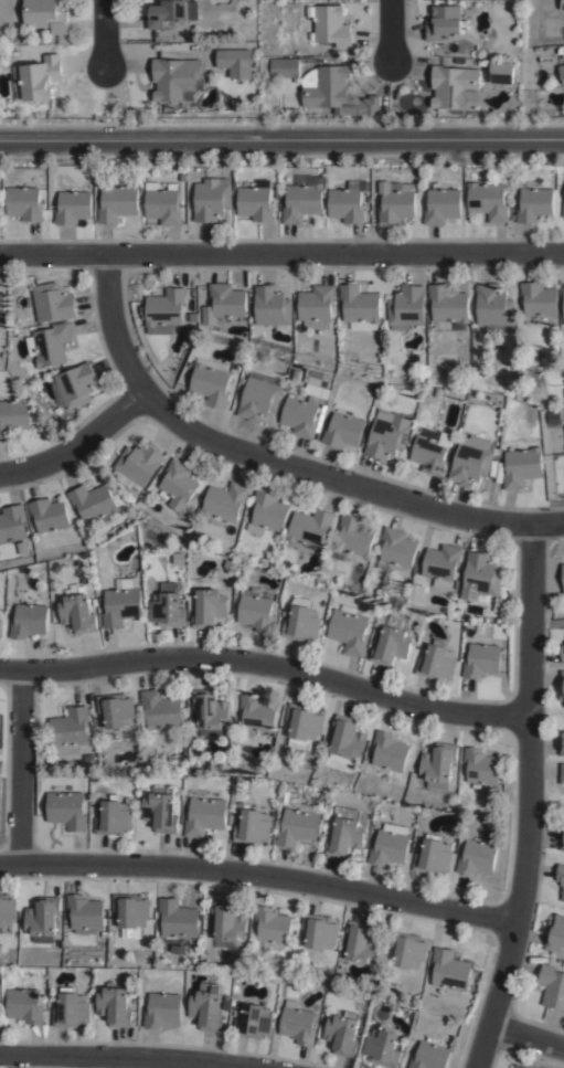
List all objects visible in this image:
building: (562, 4)
building: (164, 12)
building: (46, 15)
building: (441, 22)
building: (332, 27)
road: (390, 30)
road: (104, 34)
building: (236, 61)
building: (285, 67)
building: (561, 71)
building: (502, 72)
building: (39, 78)
building: (177, 78)
building: (451, 84)
building: (334, 91)
building: (292, 112)
road: (281, 138)
building: (182, 177)
building: (0, 194)
building: (301, 198)
building: (211, 199)
building: (255, 200)
building: (487, 200)
building: (396, 201)
building: (24, 202)
building: (117, 202)
building: (348, 202)
building: (533, 202)
building: (162, 203)
building: (440, 204)
building: (73, 207)
building: (563, 209)
building: (512, 216)
road: (281, 252)
building: (539, 299)
building: (563, 300)
building: (54, 302)
building: (224, 303)
building: (317, 303)
building: (448, 306)
building: (272, 307)
building: (406, 307)
building: (2, 308)
building: (360, 308)
building: (493, 309)
building: (164, 310)
building: (50, 345)
building: (211, 381)
building: (77, 385)
building: (318, 387)
building: (260, 396)
building: (563, 413)
building: (301, 416)
building: (14, 417)
building: (421, 429)
building: (343, 431)
building: (387, 435)
road: (77, 444)
building: (430, 452)
road: (274, 461)
building: (471, 461)
building: (139, 463)
building: (521, 467)
building: (178, 485)
building: (225, 503)
building: (93, 505)
building: (269, 511)
building: (47, 516)
building: (11, 524)
building: (310, 529)
building: (353, 538)
building: (396, 550)
building: (179, 559)
building: (443, 565)
building: (480, 577)
building: (562, 577)
building: (120, 602)
building: (207, 606)
building: (167, 607)
building: (76, 611)
building: (256, 612)
building: (28, 622)
building: (302, 622)
building: (1, 628)
building: (349, 631)
building: (393, 644)
building: (562, 655)
building: (482, 662)
building: (437, 664)
road: (266, 666)
building: (562, 687)
building: (161, 711)
building: (211, 713)
building: (116, 717)
building: (256, 717)
building: (304, 727)
building: (70, 732)
building: (347, 740)
building: (562, 744)
building: (390, 753)
building: (87, 759)
building: (439, 765)
road: (20, 766)
building: (481, 768)
building: (562, 775)
building: (286, 795)
road: (525, 799)
building: (66, 811)
building: (160, 814)
building: (273, 814)
building: (204, 818)
building: (114, 819)
building: (300, 827)
building: (252, 829)
building: (345, 834)
building: (562, 842)
building: (390, 846)
building: (434, 858)
building: (477, 859)
road: (259, 873)
building: (561, 881)
building: (7, 911)
building: (130, 913)
building: (84, 916)
building: (41, 919)
building: (177, 920)
building: (227, 927)
building: (272, 927)
building: (319, 933)
building: (555, 937)
building: (362, 945)
building: (409, 952)
building: (450, 971)
building: (552, 987)
building: (227, 1004)
building: (24, 1007)
building: (114, 1007)
building: (71, 1011)
building: (207, 1012)
building: (162, 1013)
building: (254, 1025)
building: (298, 1026)
road: (524, 1037)
building: (343, 1038)
building: (382, 1049)
building: (432, 1056)
road: (125, 1057)
road: (65, 1062)
building: (521, 1065)

